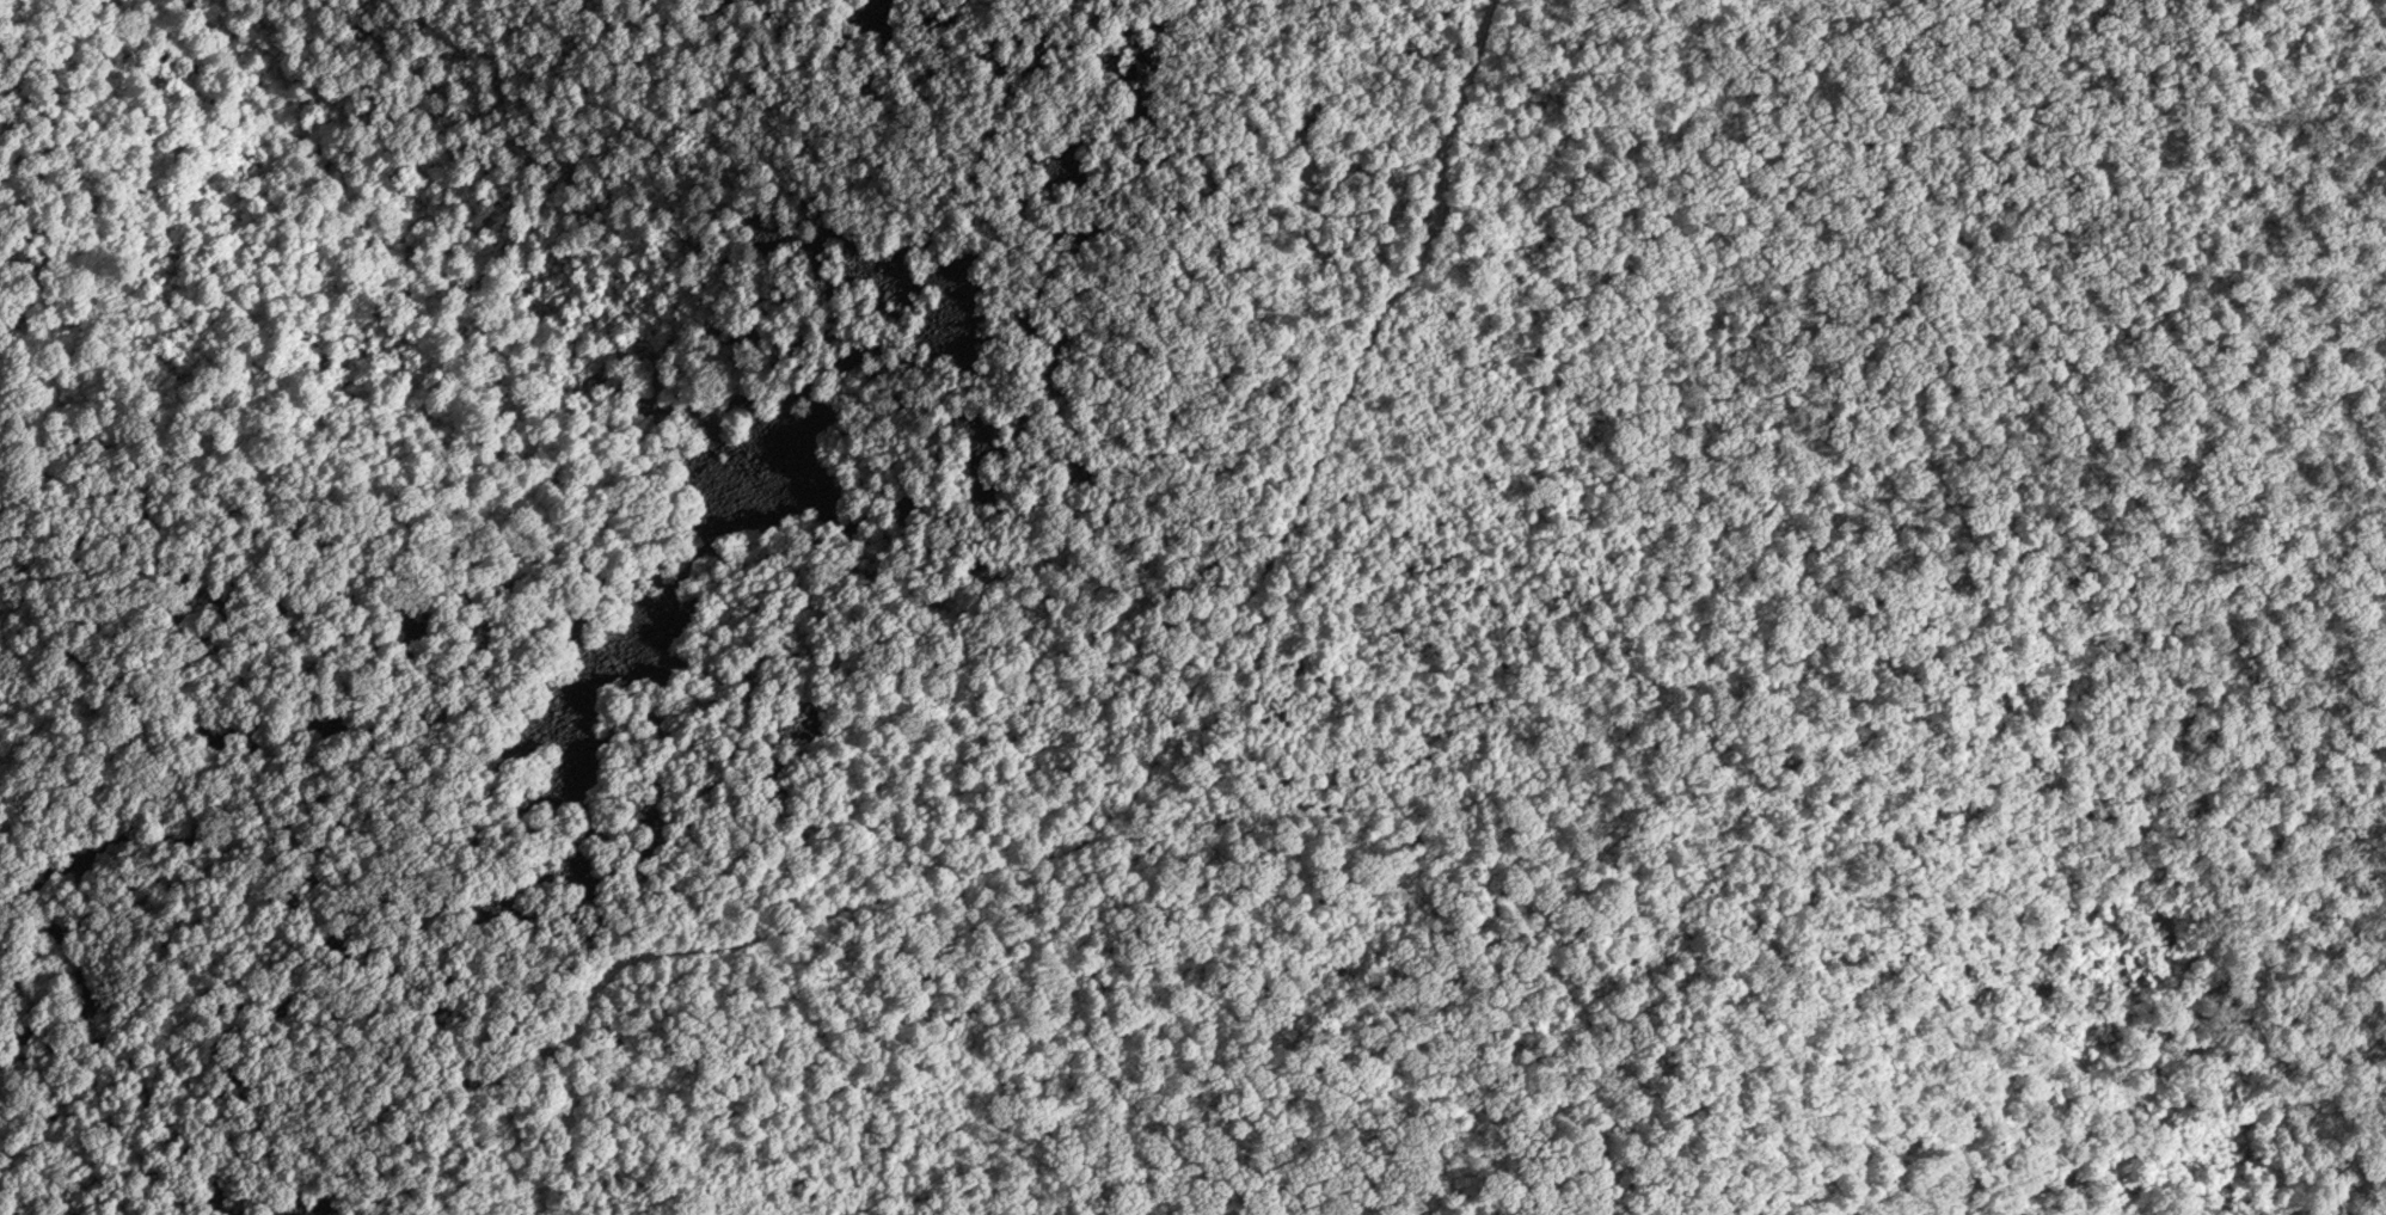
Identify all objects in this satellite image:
road: (1661, 669)
road: (1146, 768)

